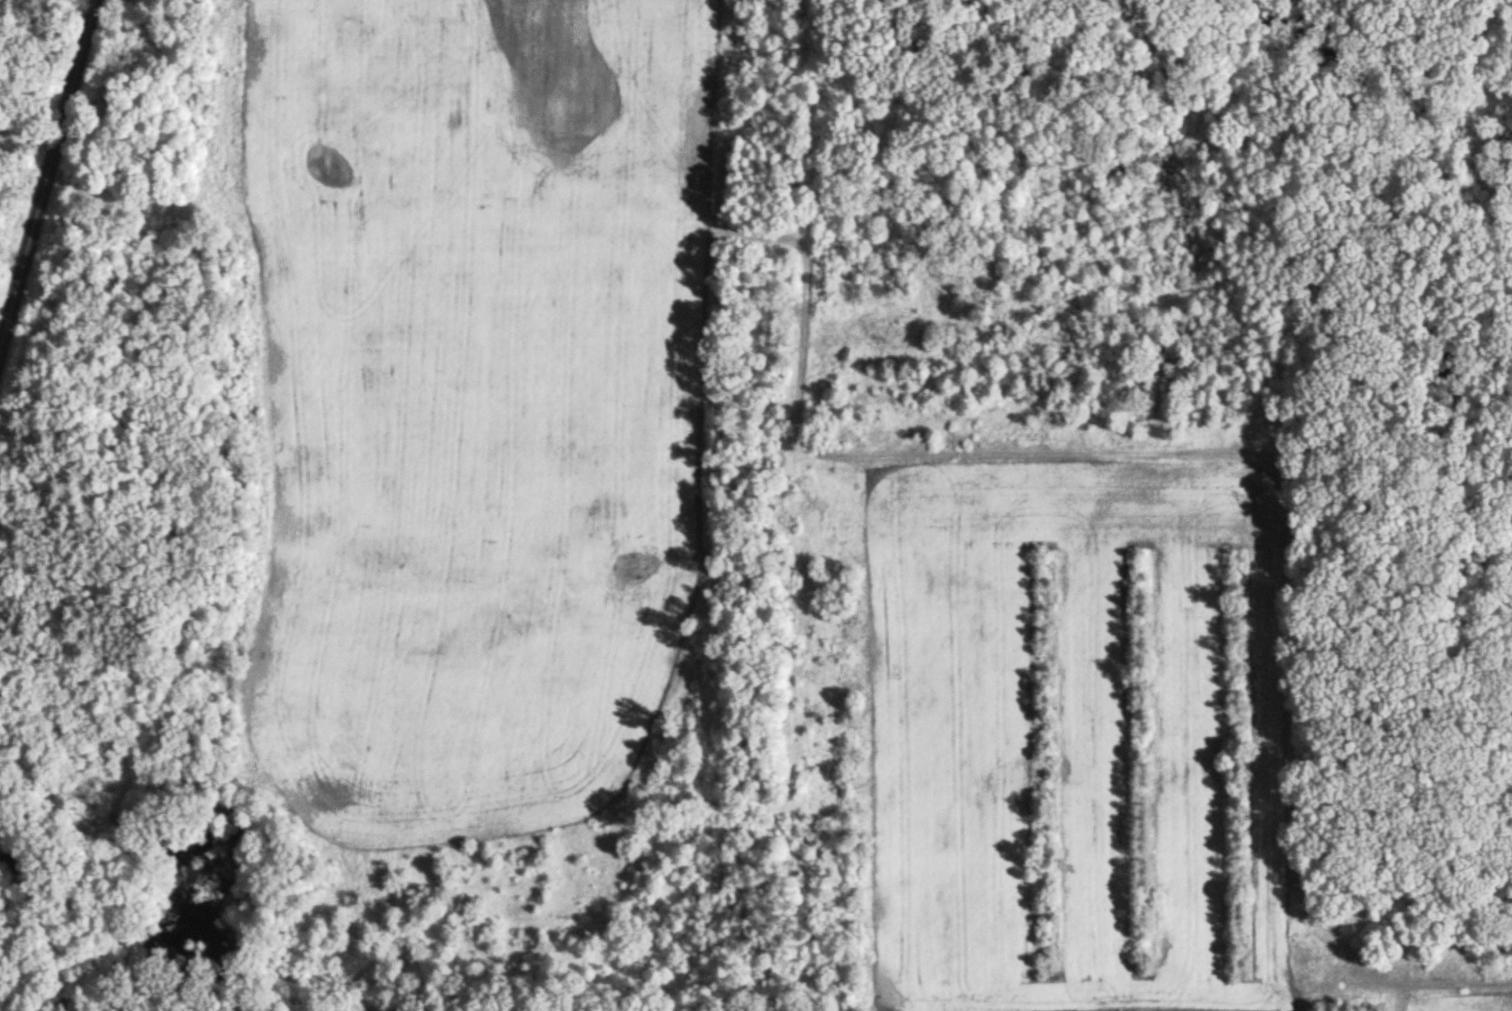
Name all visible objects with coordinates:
road: (50, 185)

